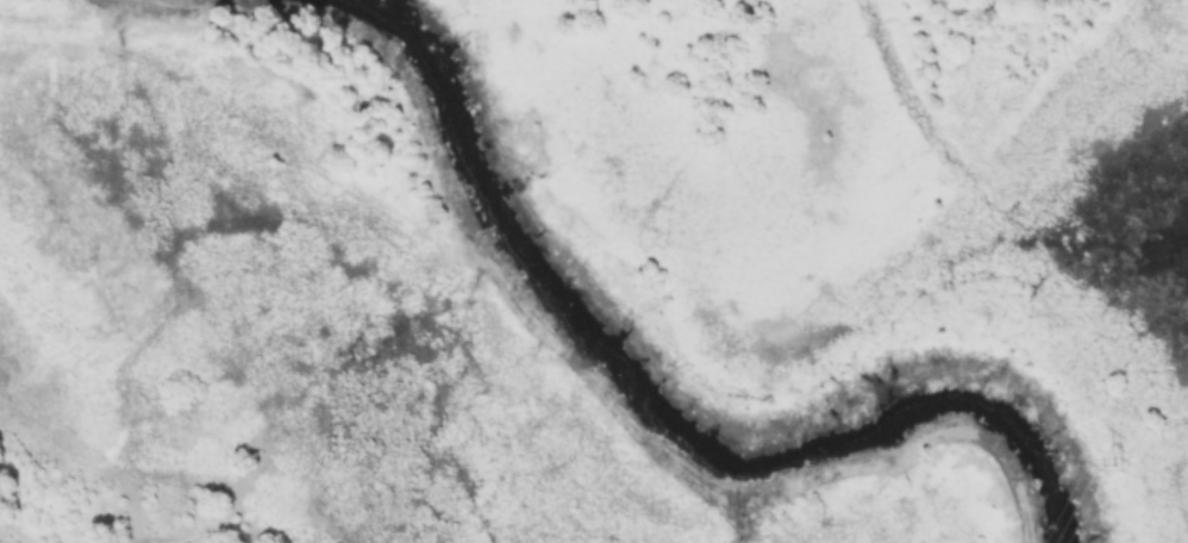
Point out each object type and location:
road: (249, 526)

